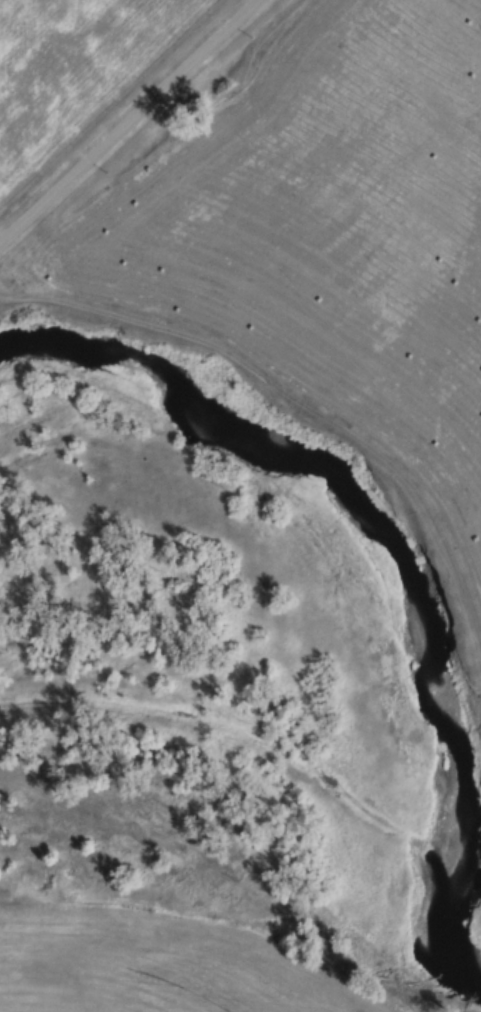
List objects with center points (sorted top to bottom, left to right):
road: (131, 133)
river: (385, 558)

